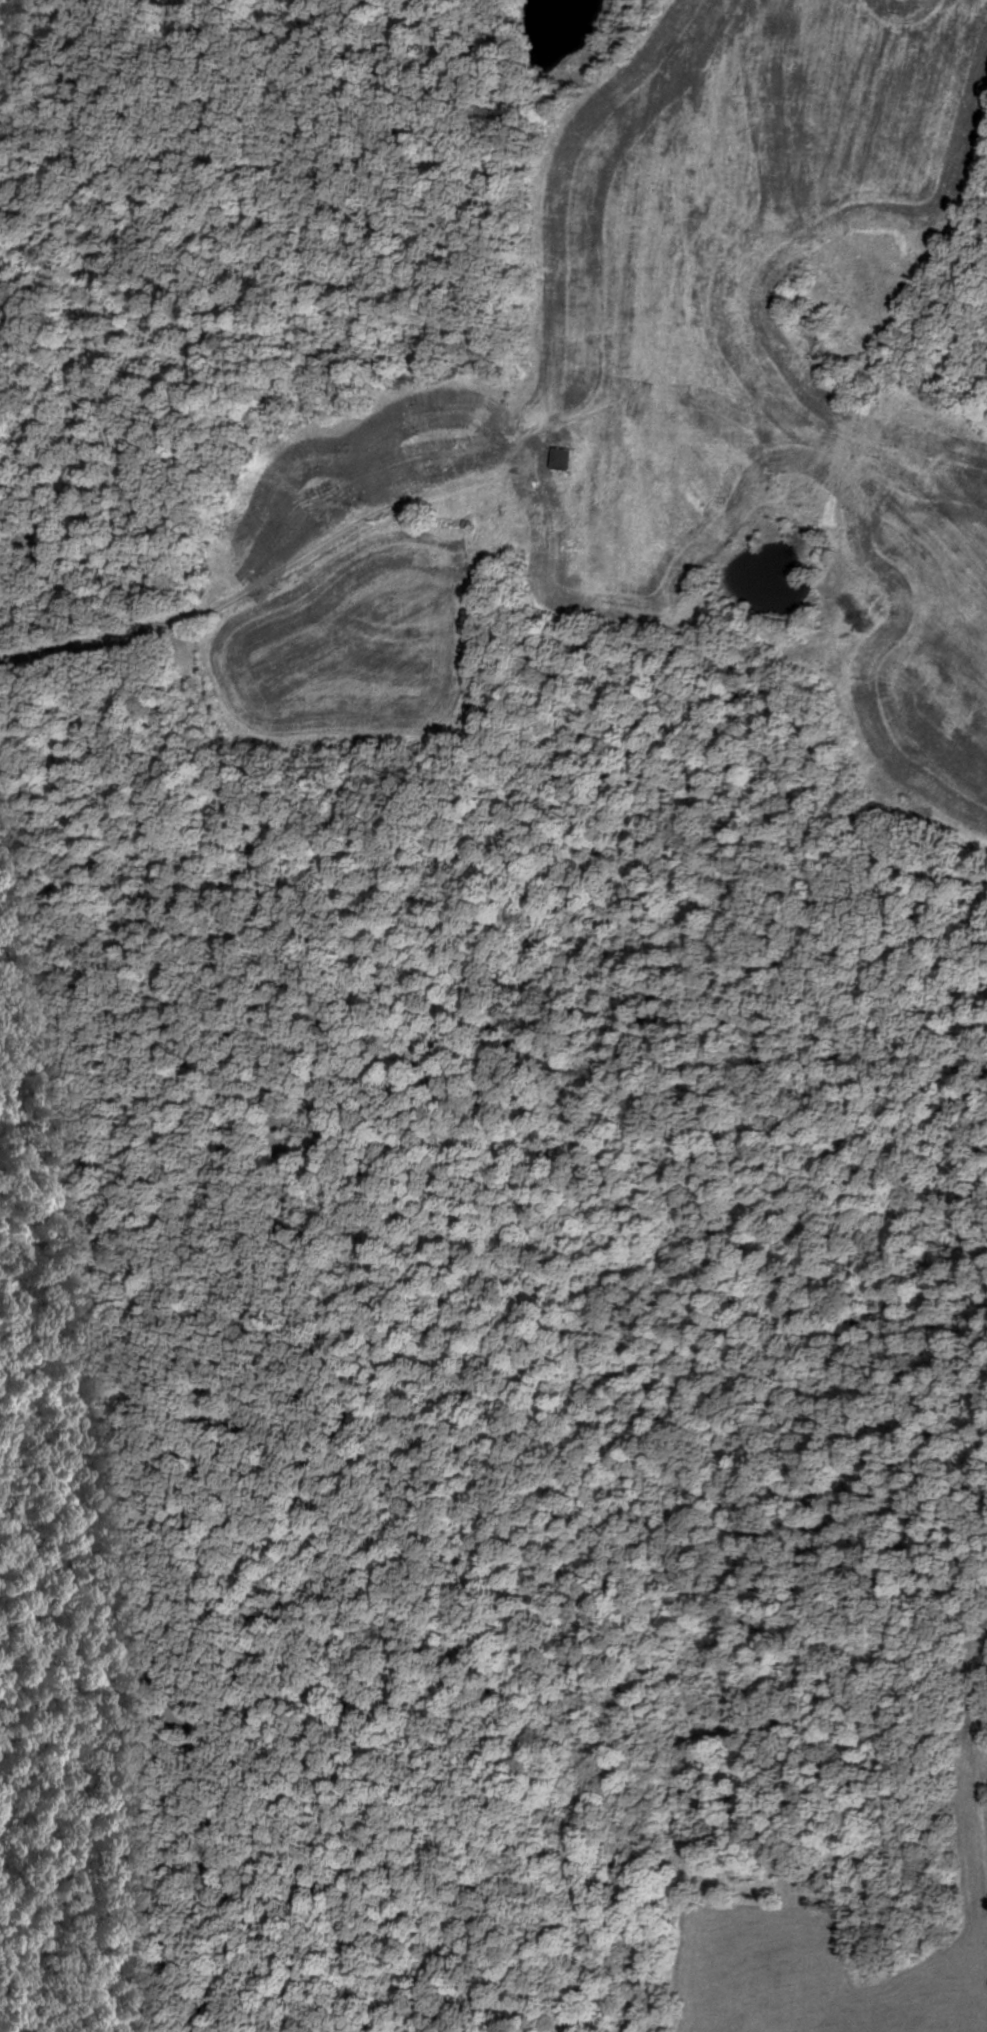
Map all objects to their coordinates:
building: (563, 458)
road: (231, 594)

